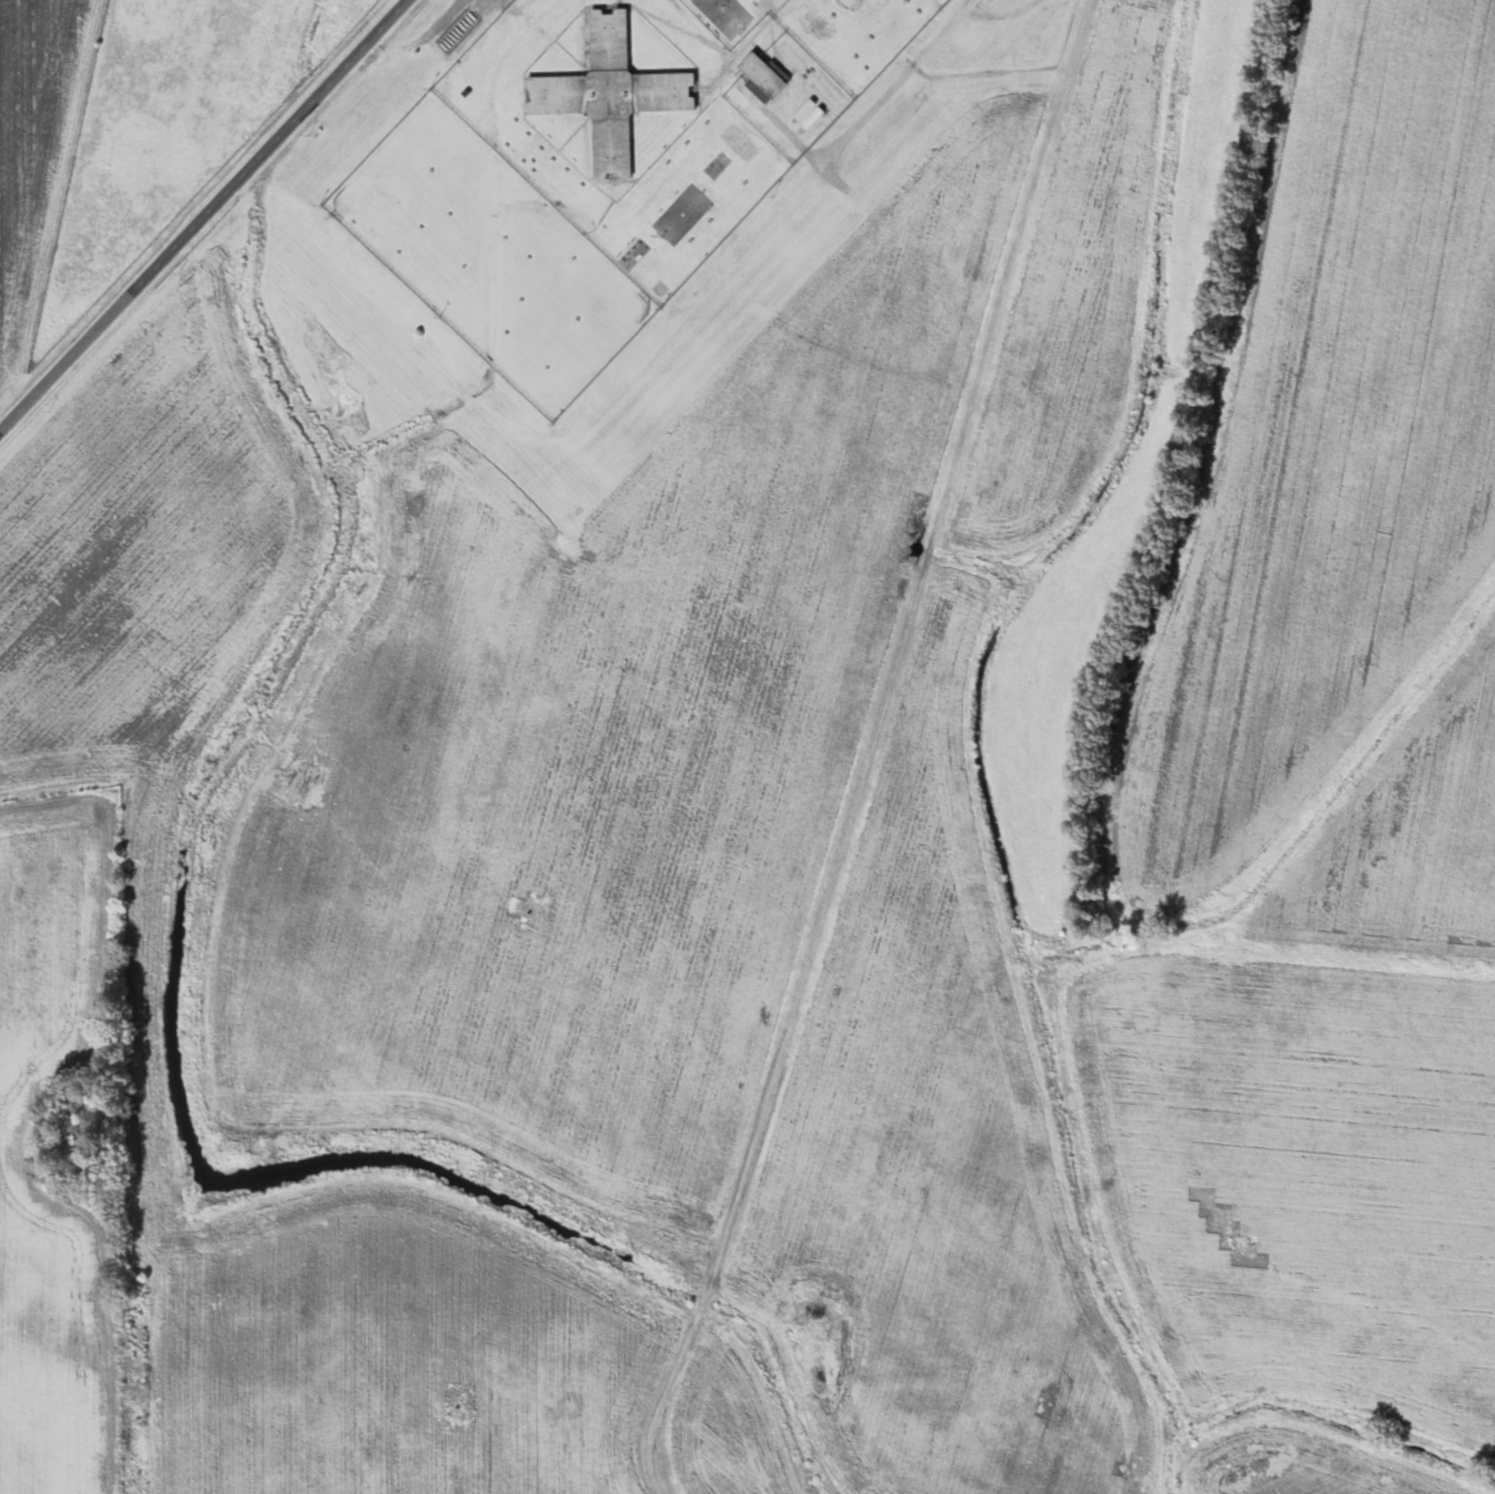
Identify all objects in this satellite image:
building: (846, 1)
building: (761, 77)
building: (600, 100)
road: (199, 211)
building: (682, 214)
road: (875, 746)

